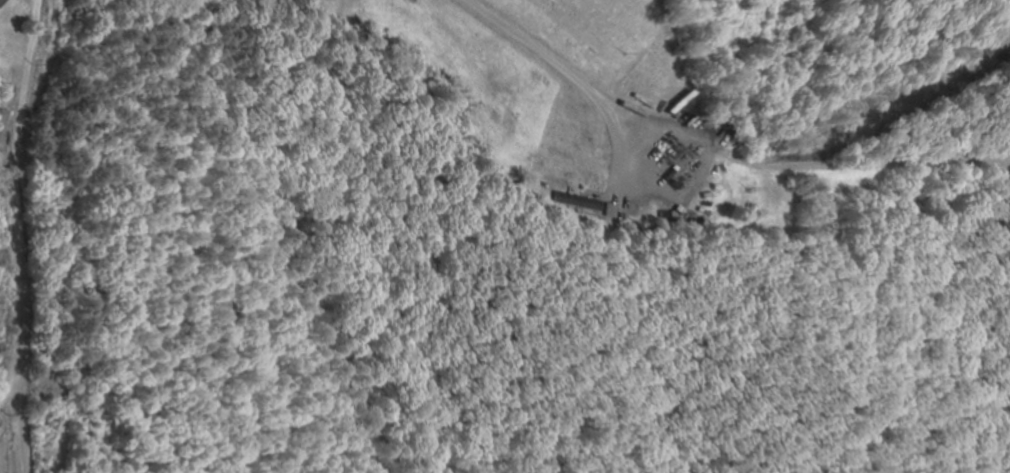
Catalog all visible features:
building: (1, 1)
building: (6, 130)
road: (36, 182)

